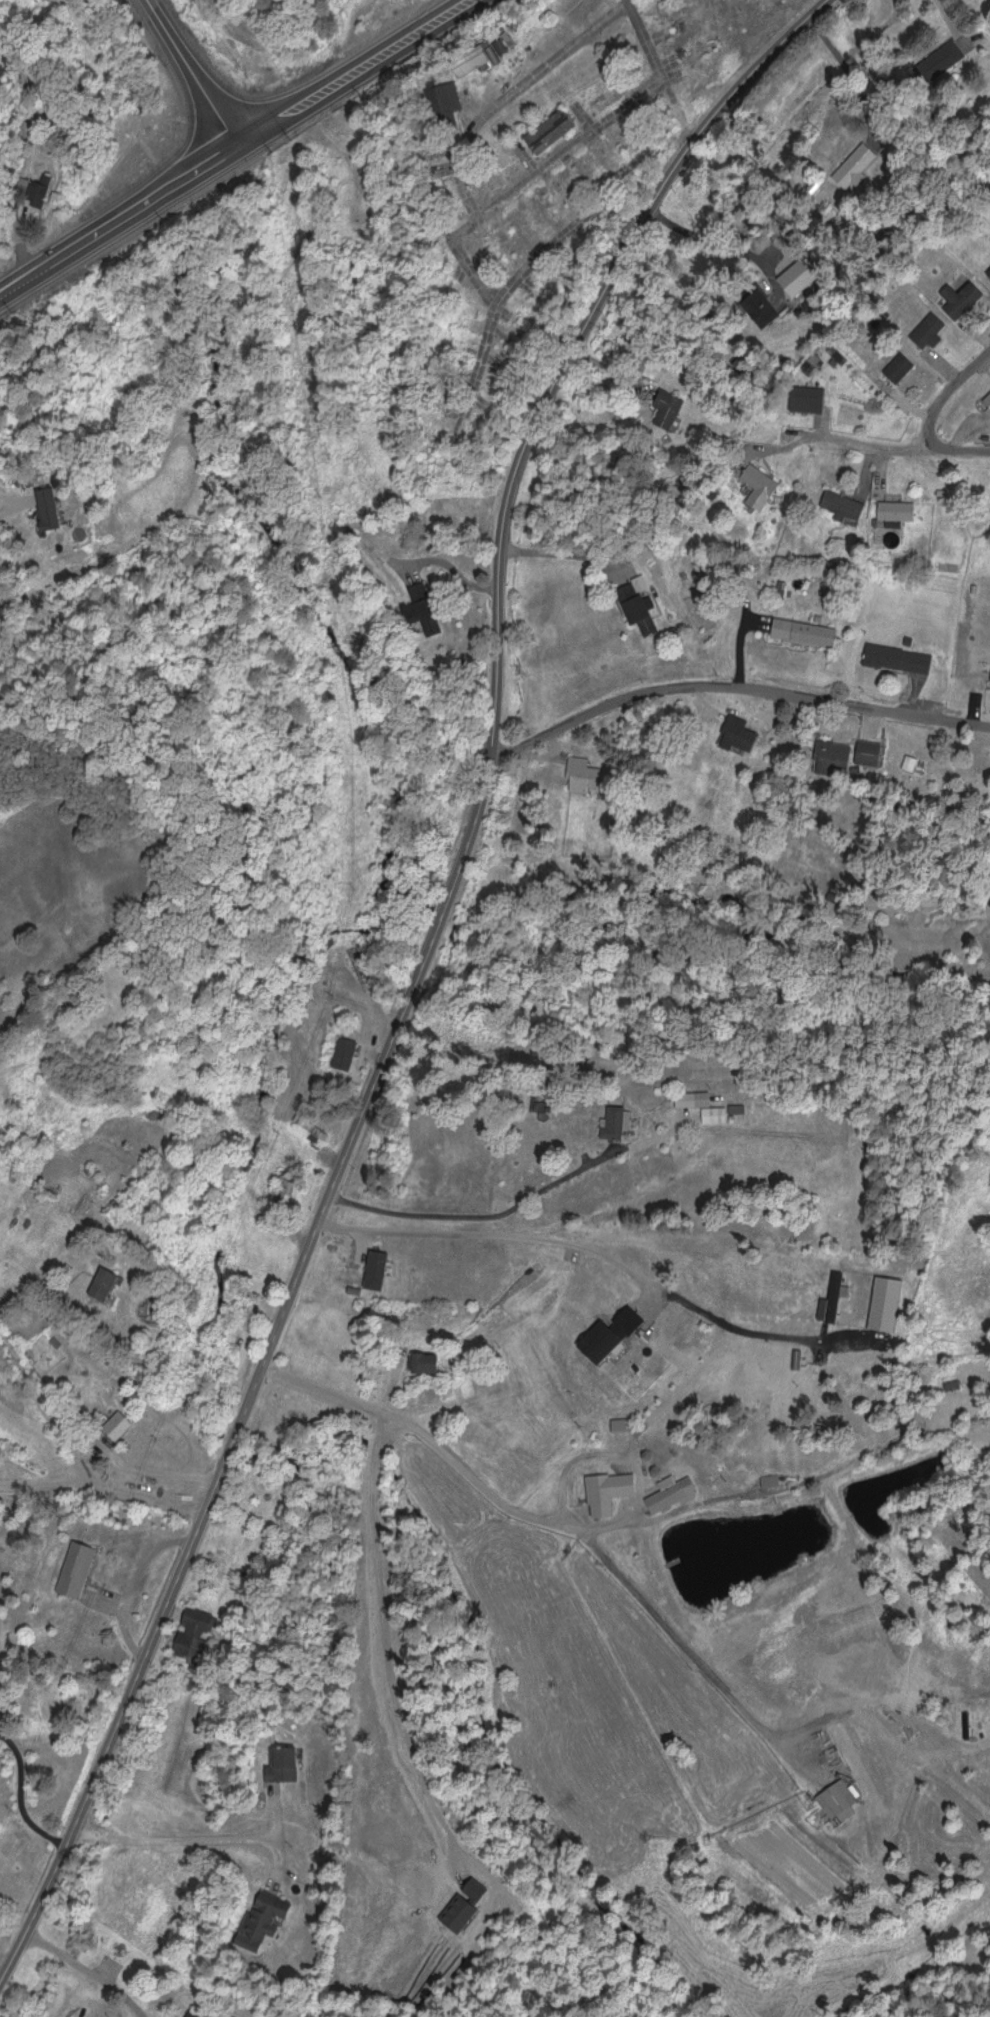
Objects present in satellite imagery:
building: (748, 0)
building: (382, 5)
building: (671, 13)
building: (686, 32)
building: (700, 51)
building: (943, 55)
building: (472, 58)
road: (193, 74)
building: (704, 80)
road: (505, 93)
building: (450, 102)
road: (678, 110)
building: (551, 128)
building: (629, 142)
road: (237, 149)
road: (558, 153)
building: (610, 158)
building: (856, 163)
building: (584, 170)
building: (495, 171)
building: (565, 192)
building: (546, 209)
road: (20, 222)
building: (522, 228)
road: (619, 254)
road: (535, 259)
building: (578, 261)
building: (483, 262)
building: (988, 272)
building: (441, 287)
building: (971, 293)
building: (541, 306)
building: (762, 307)
building: (521, 328)
building: (929, 332)
building: (650, 365)
building: (901, 366)
building: (441, 373)
building: (504, 375)
building: (808, 397)
building: (988, 397)
building: (668, 407)
road: (925, 429)
road: (952, 445)
building: (760, 484)
building: (844, 503)
building: (52, 506)
building: (898, 508)
building: (427, 607)
building: (639, 608)
building: (805, 630)
building: (899, 657)
road: (734, 684)
building: (740, 733)
building: (871, 752)
building: (835, 753)
building: (584, 774)
building: (91, 893)
building: (705, 1103)
building: (618, 1121)
building: (311, 1125)
building: (282, 1191)
road: (516, 1202)
road: (573, 1245)
road: (296, 1277)
building: (107, 1283)
building: (248, 1309)
building: (430, 1363)
road: (45, 1410)
building: (121, 1424)
road: (45, 1482)
building: (609, 1490)
building: (671, 1493)
road: (146, 1498)
road: (565, 1522)
building: (78, 1568)
building: (193, 1636)
building: (284, 1763)
building: (838, 1798)
road: (192, 1842)
building: (265, 1913)
road: (82, 1972)
building: (204, 2012)

